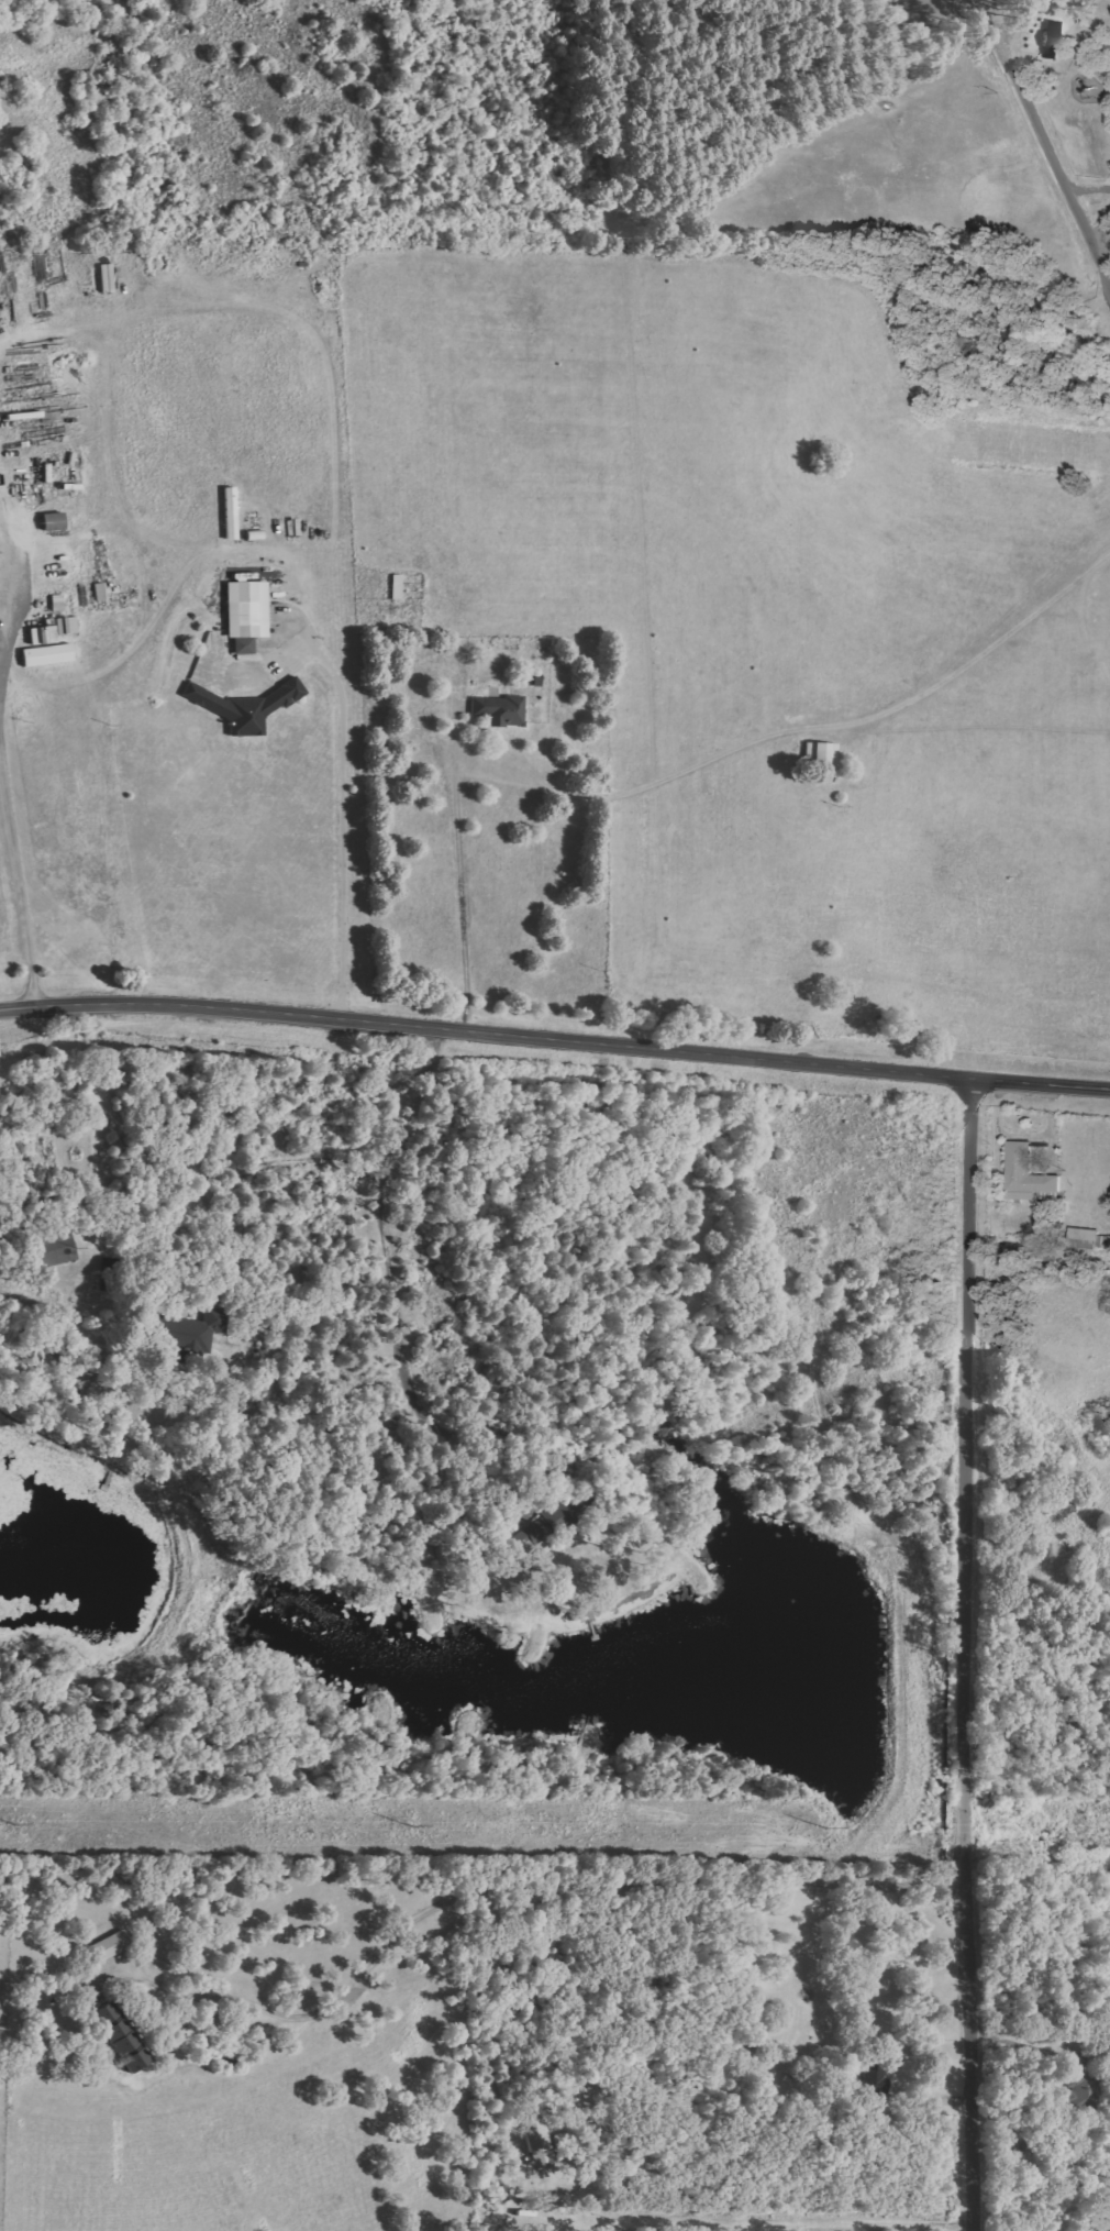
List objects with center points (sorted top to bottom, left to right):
building: (1052, 37)
road: (1105, 261)
building: (67, 377)
building: (54, 520)
road: (5, 605)
building: (247, 614)
building: (48, 654)
building: (247, 705)
building: (500, 709)
building: (824, 754)
road: (18, 865)
road: (554, 1038)
building: (1026, 1174)
building: (1088, 1239)
building: (57, 1249)
road: (392, 1260)
building: (189, 1329)
building: (545, 1527)
road: (965, 1654)
power tower: (15, 1824)
power tower: (412, 1825)
power tower: (825, 1825)
building: (113, 1945)
building: (120, 2037)
building: (537, 2139)

